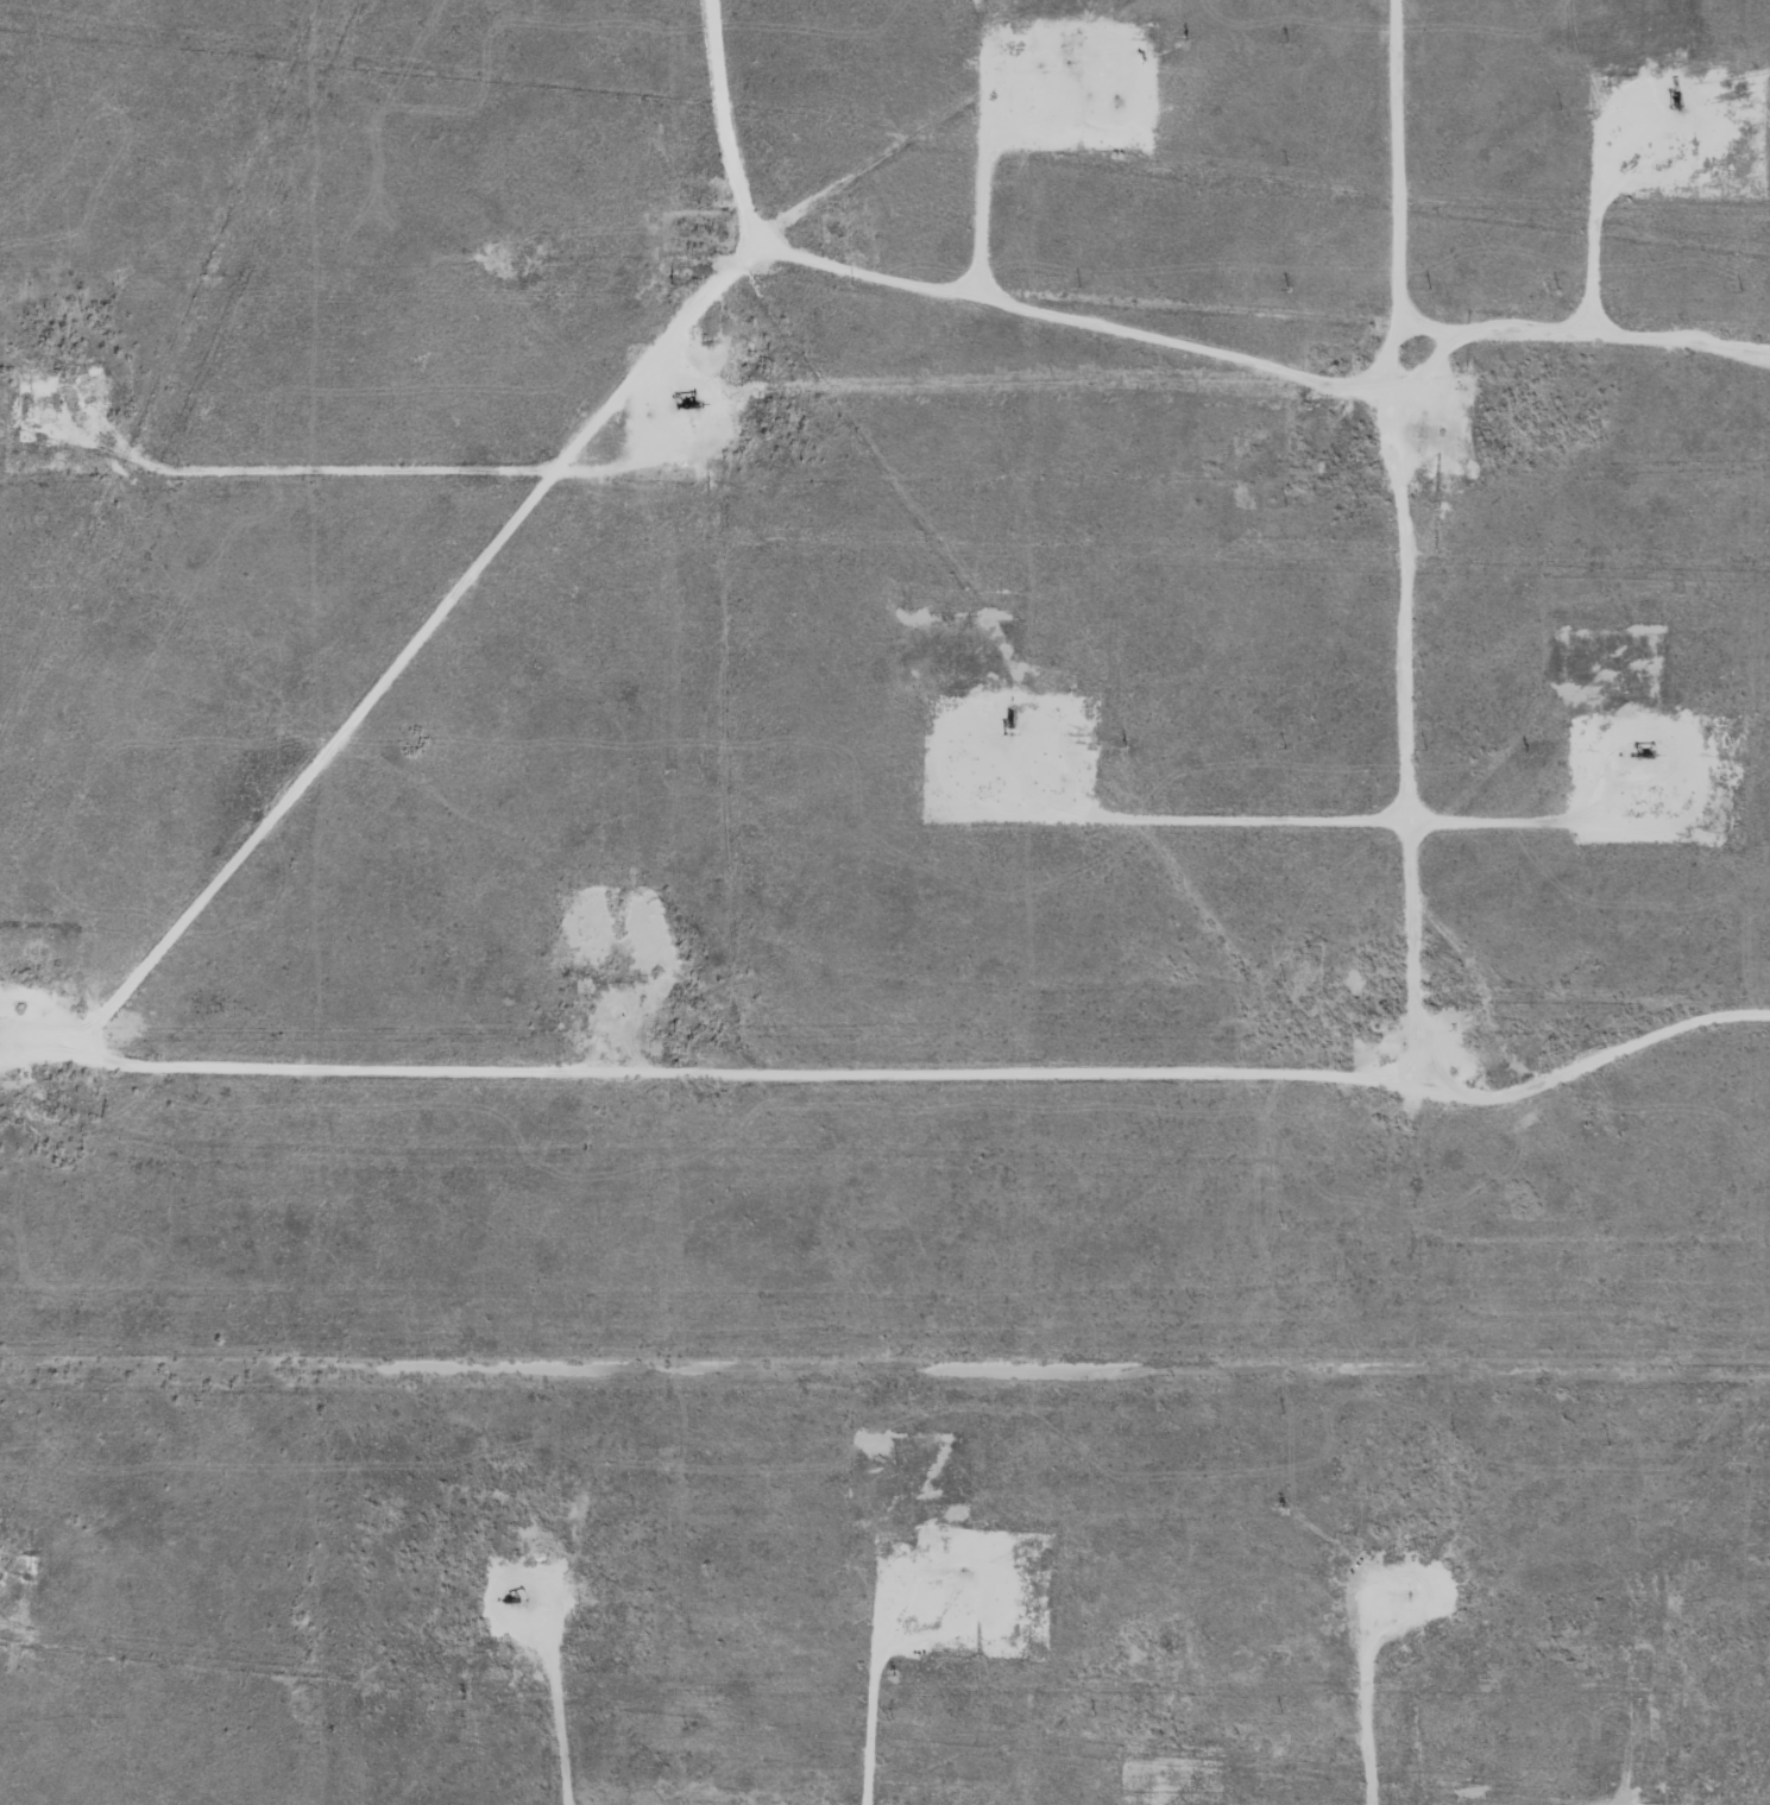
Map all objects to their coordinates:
road: (1398, 524)
road: (316, 1035)

